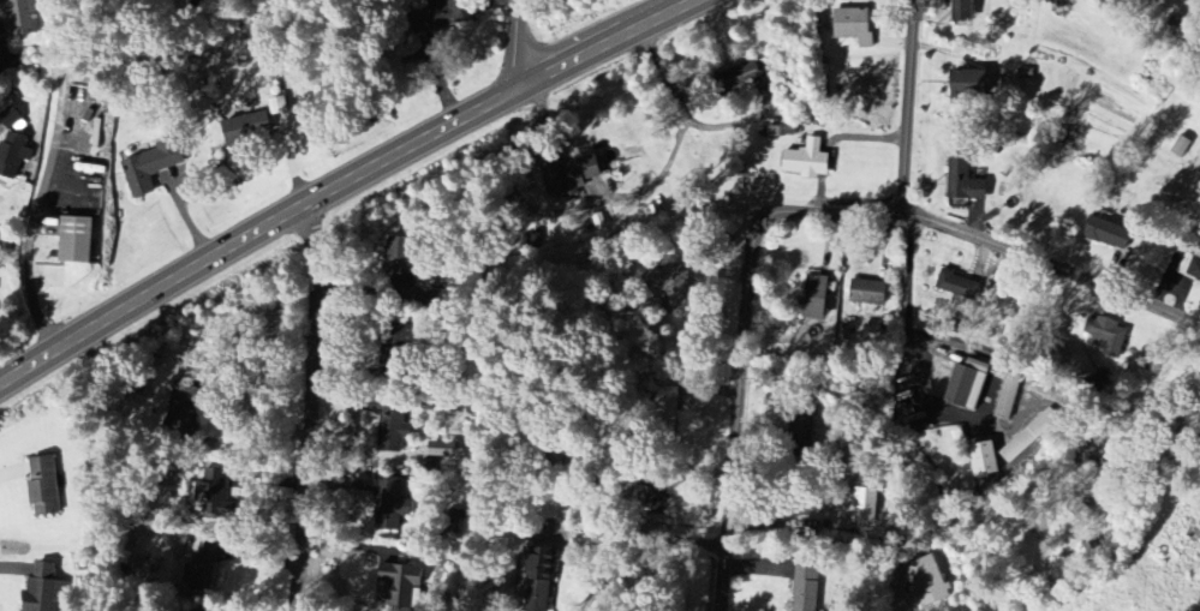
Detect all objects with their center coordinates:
building: (963, 13)
building: (438, 14)
building: (19, 17)
building: (854, 25)
road: (517, 43)
building: (739, 77)
building: (967, 85)
road: (896, 108)
road: (738, 121)
building: (245, 128)
building: (13, 150)
building: (808, 160)
building: (153, 166)
road: (47, 175)
road: (344, 179)
building: (966, 181)
road: (605, 199)
building: (599, 221)
building: (1109, 233)
building: (76, 239)
building: (402, 253)
road: (1047, 265)
building: (1195, 268)
road: (897, 269)
building: (959, 284)
building: (675, 288)
building: (868, 292)
building: (816, 296)
building: (1106, 335)
road: (736, 341)
building: (393, 353)
building: (967, 387)
building: (1008, 396)
road: (294, 405)
building: (668, 406)
building: (394, 427)
building: (1029, 435)
building: (443, 448)
building: (985, 459)
building: (44, 486)
building: (211, 489)
building: (392, 498)
building: (655, 501)
building: (866, 505)
road: (623, 564)
building: (203, 568)
building: (541, 581)
building: (926, 582)
building: (400, 585)
building: (807, 587)
building: (46, 589)
road: (902, 603)

